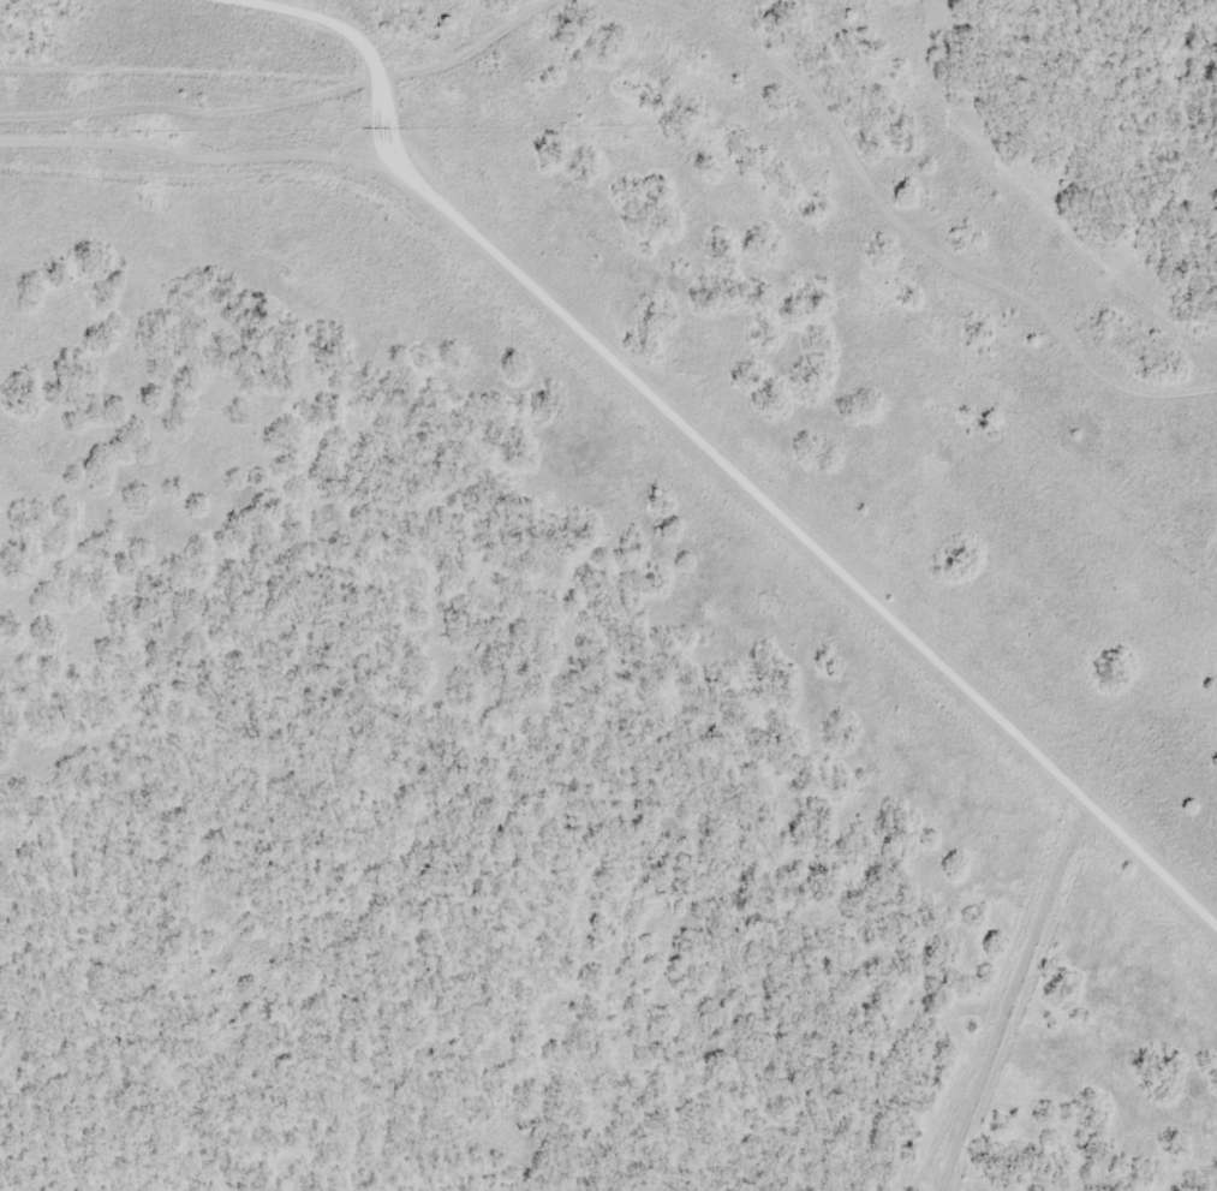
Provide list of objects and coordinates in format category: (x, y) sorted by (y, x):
road: (747, 464)

